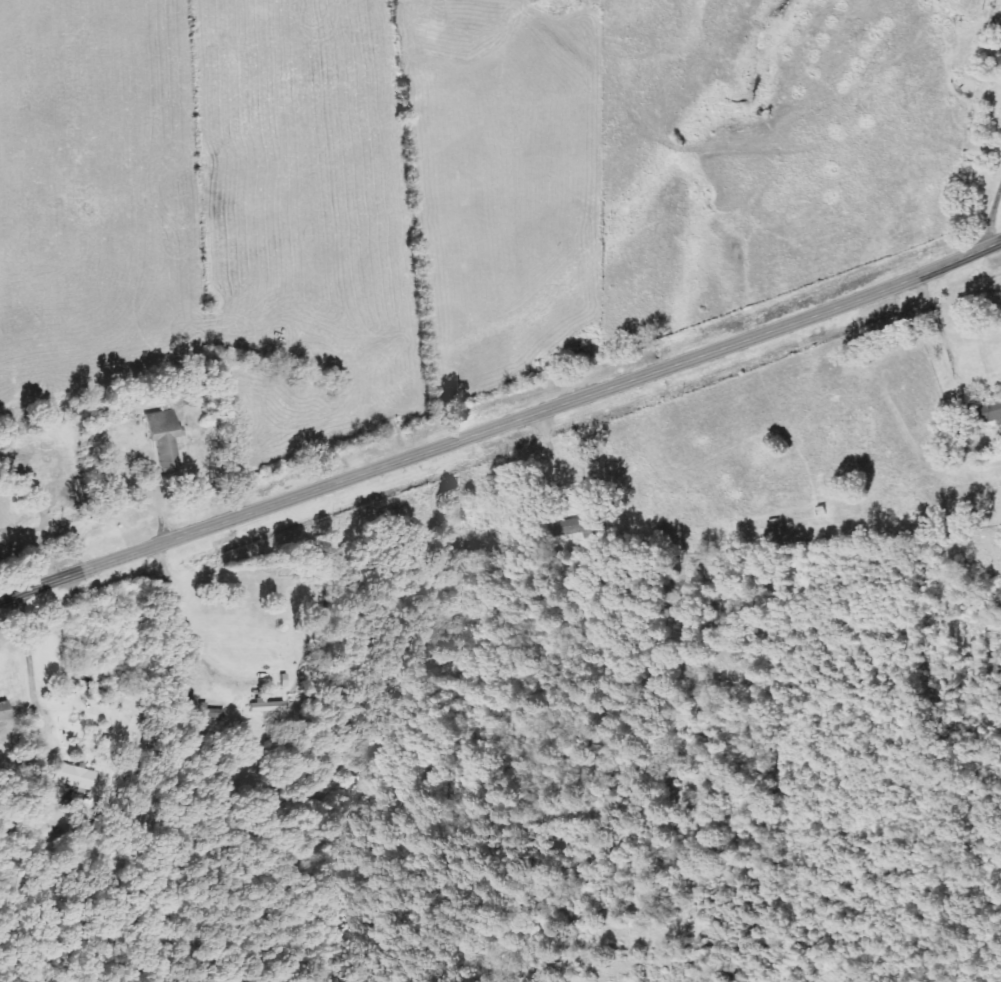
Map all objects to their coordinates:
road: (991, 216)
road: (942, 341)
building: (987, 414)
road: (502, 423)
building: (163, 439)
road: (547, 447)
building: (578, 528)
building: (264, 706)
building: (4, 712)
building: (75, 776)
building: (77, 797)

